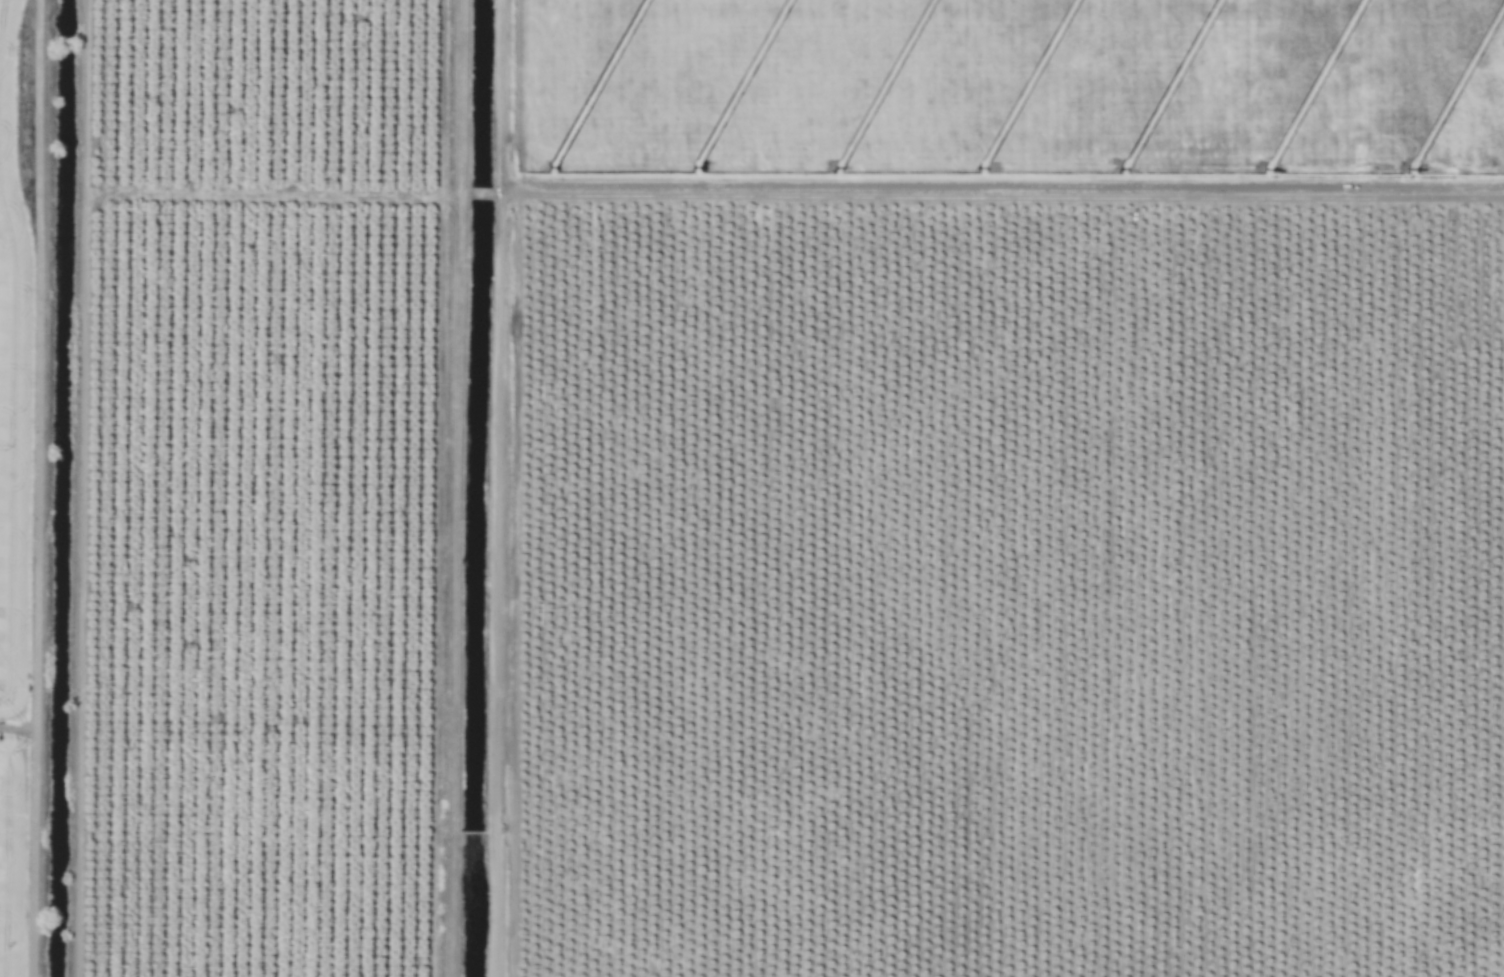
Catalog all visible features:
road: (36, 488)
crop: (12, 853)

